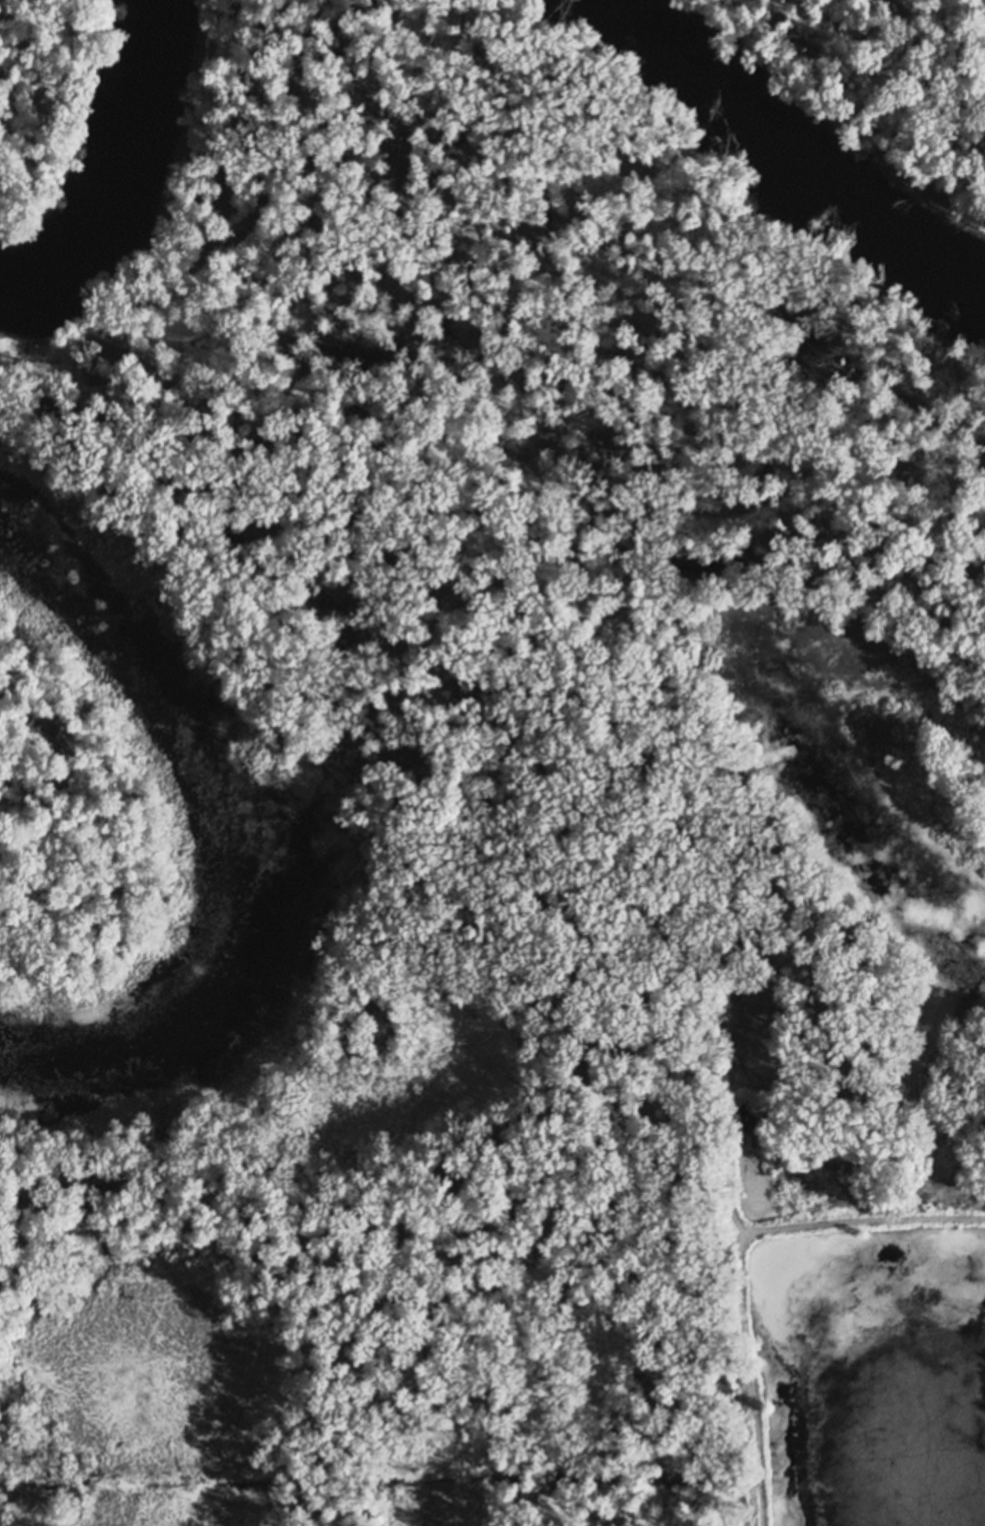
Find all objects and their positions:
river: (790, 149)
river: (120, 175)
building: (73, 346)
building: (40, 348)
building: (84, 399)

